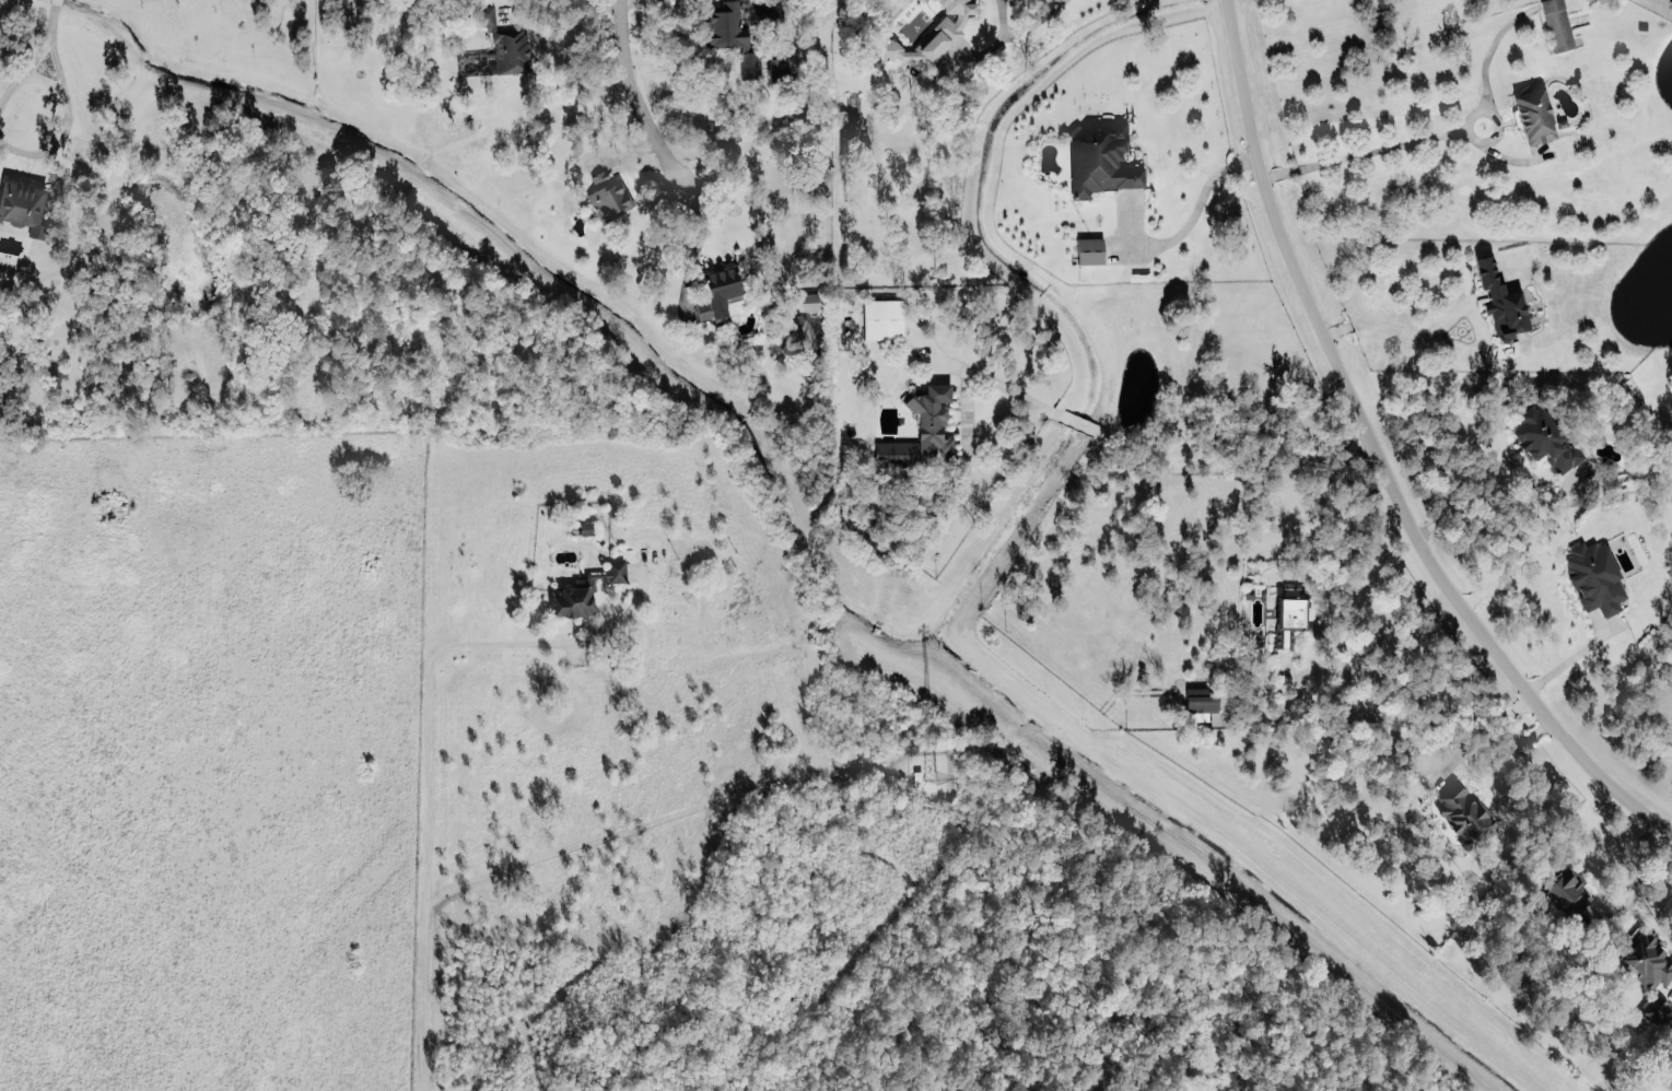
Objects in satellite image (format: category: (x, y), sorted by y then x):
road: (593, 5)
road: (524, 9)
road: (51, 16)
building: (1556, 24)
road: (1025, 26)
building: (932, 35)
road: (689, 36)
building: (504, 43)
road: (1487, 54)
building: (748, 63)
building: (779, 63)
road: (25, 68)
road: (635, 102)
building: (1533, 115)
road: (66, 118)
road: (732, 140)
road: (1371, 150)
building: (1099, 156)
building: (607, 195)
road: (1199, 202)
building: (22, 204)
building: (1089, 249)
building: (720, 292)
building: (807, 300)
building: (1499, 300)
building: (881, 317)
road: (1391, 325)
road: (1066, 415)
building: (921, 430)
building: (1542, 438)
road: (1378, 455)
road: (1500, 505)
building: (1593, 575)
road: (1543, 591)
building: (585, 594)
building: (1288, 618)
road: (1572, 655)
road: (1351, 715)
road: (430, 742)
road: (1497, 743)
building: (1465, 818)
road: (1638, 878)
building: (1567, 893)
building: (1648, 962)
building: (1657, 1012)

